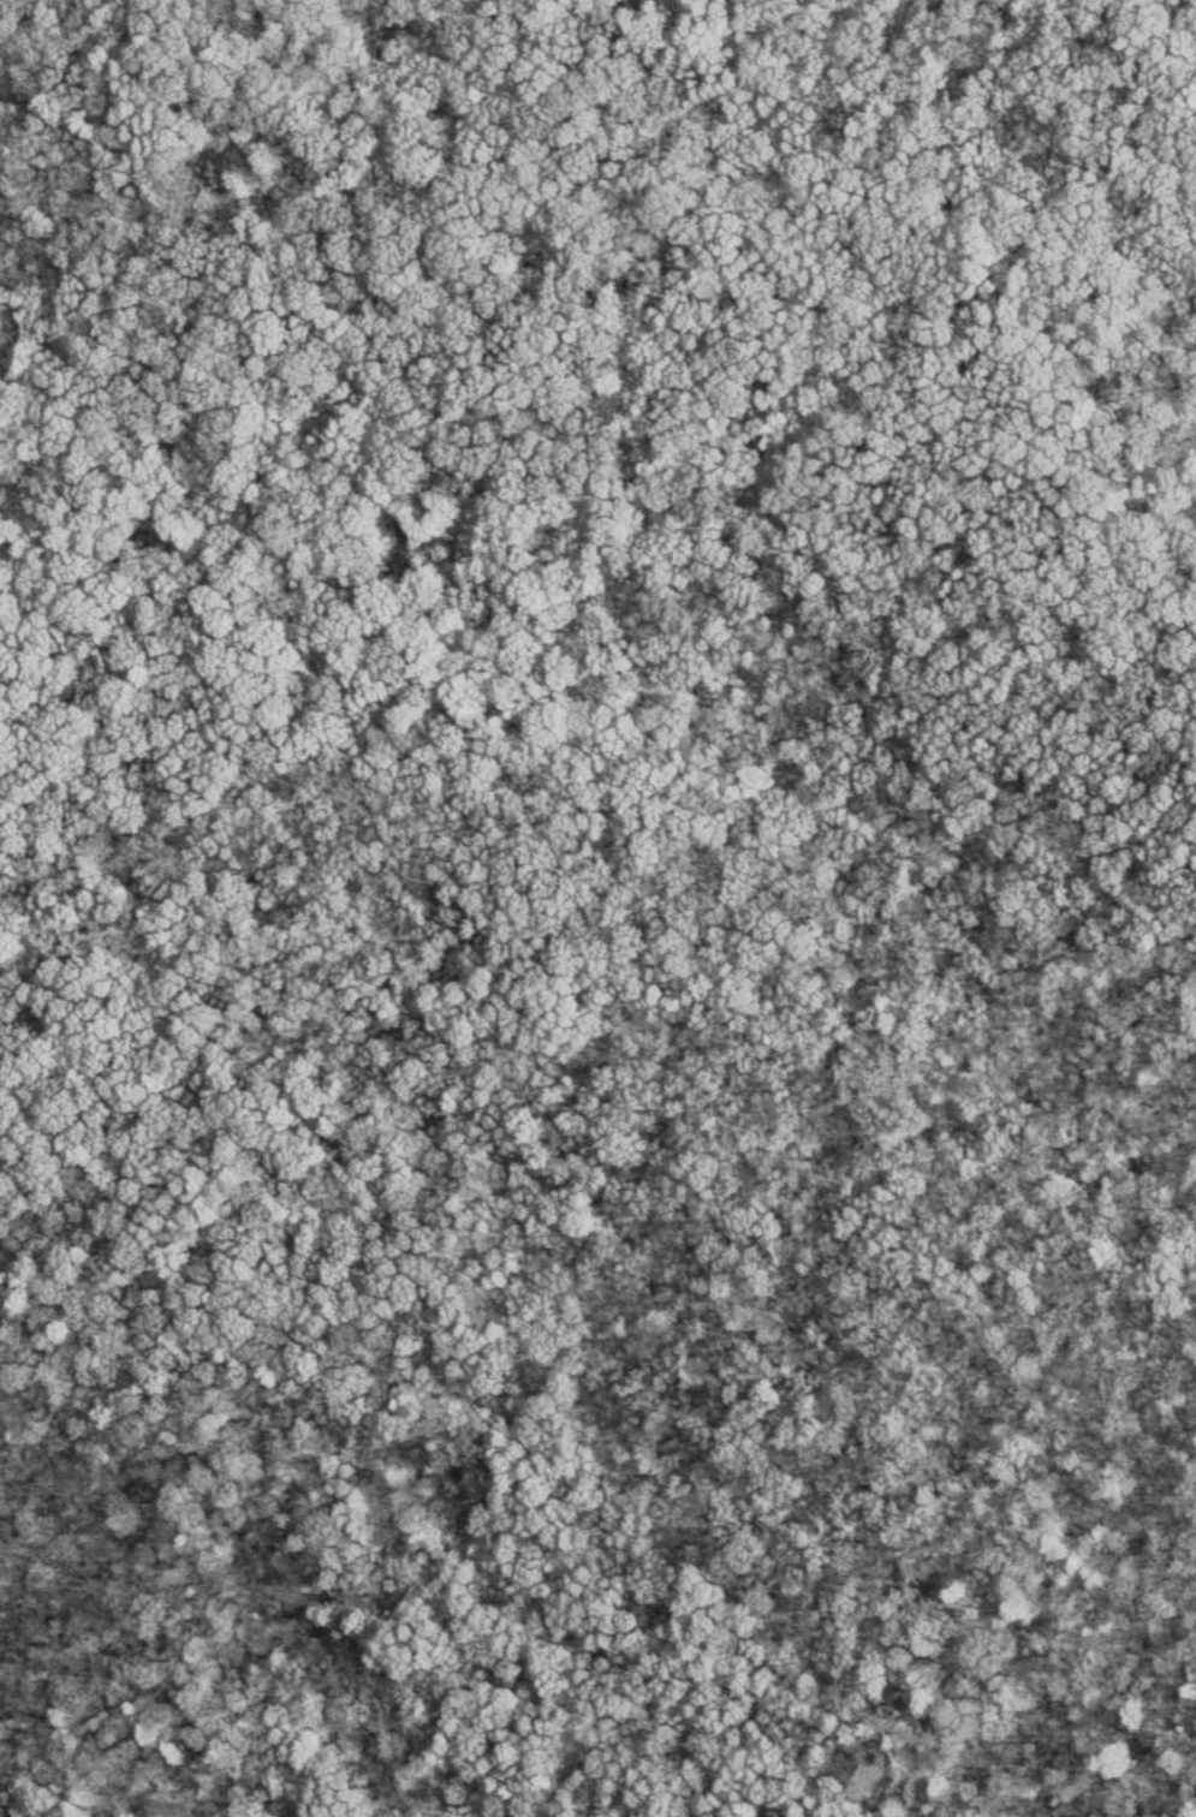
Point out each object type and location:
road: (1, 72)
road: (94, 822)
road: (19, 1609)

